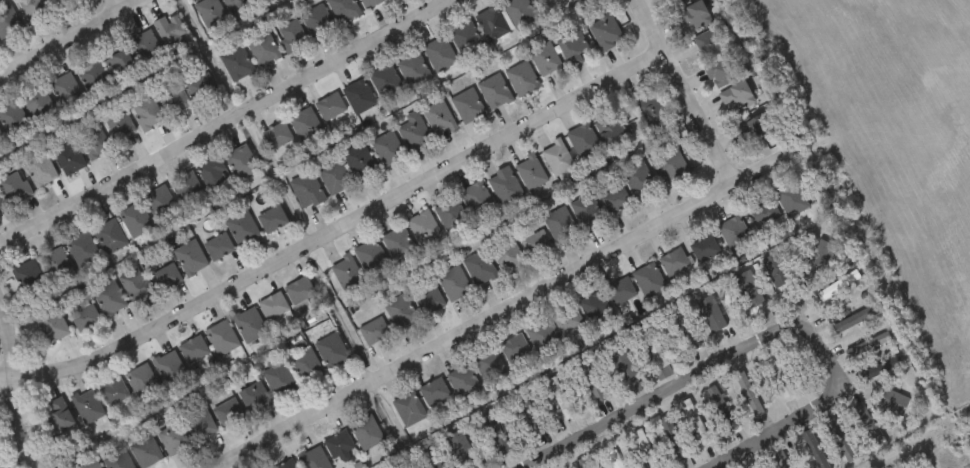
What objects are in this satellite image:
building: (571, 0)
building: (58, 2)
building: (262, 2)
building: (540, 2)
building: (681, 2)
building: (371, 3)
road: (120, 6)
building: (237, 6)
building: (34, 10)
building: (343, 10)
building: (519, 12)
building: (209, 13)
building: (695, 16)
building: (7, 22)
building: (317, 23)
building: (491, 24)
building: (605, 32)
building: (172, 34)
building: (291, 36)
building: (465, 38)
road: (73, 40)
building: (711, 43)
building: (145, 47)
building: (572, 48)
building: (262, 49)
building: (440, 55)
building: (545, 61)
building: (118, 62)
building: (236, 64)
building: (413, 70)
building: (723, 72)
building: (92, 77)
building: (521, 79)
building: (385, 82)
building: (201, 89)
building: (65, 91)
building: (494, 93)
road: (680, 94)
building: (358, 97)
building: (737, 99)
building: (173, 100)
building: (468, 106)
building: (40, 107)
building: (330, 108)
building: (651, 112)
building: (146, 114)
building: (12, 119)
building: (439, 120)
building: (303, 123)
building: (118, 124)
road: (227, 124)
building: (612, 131)
building: (756, 131)
building: (413, 132)
building: (1, 135)
building: (276, 136)
building: (92, 142)
building: (583, 143)
building: (387, 149)
building: (67, 157)
building: (556, 159)
building: (359, 162)
building: (240, 163)
building: (672, 167)
building: (39, 171)
building: (530, 173)
building: (213, 175)
building: (334, 178)
building: (638, 180)
building: (504, 187)
building: (14, 188)
building: (185, 188)
building: (306, 191)
building: (789, 199)
building: (476, 200)
building: (615, 201)
building: (160, 205)
building: (1, 207)
building: (586, 211)
building: (763, 213)
building: (450, 215)
building: (272, 220)
building: (135, 221)
building: (559, 225)
building: (422, 227)
building: (242, 230)
building: (733, 233)
road: (335, 234)
building: (109, 236)
building: (397, 244)
building: (535, 244)
building: (218, 247)
building: (704, 249)
building: (82, 250)
building: (507, 256)
building: (370, 257)
building: (189, 259)
building: (817, 261)
building: (674, 263)
building: (56, 265)
building: (479, 269)
building: (775, 273)
building: (346, 274)
building: (166, 277)
building: (28, 278)
building: (649, 280)
building: (453, 284)
building: (135, 285)
building: (838, 286)
building: (299, 291)
building: (620, 291)
building: (109, 299)
building: (428, 302)
building: (273, 307)
building: (593, 307)
building: (399, 312)
road: (508, 312)
building: (84, 318)
building: (855, 320)
building: (567, 321)
building: (249, 325)
building: (52, 326)
building: (728, 328)
building: (373, 332)
building: (686, 334)
building: (541, 337)
building: (221, 338)
road: (753, 343)
building: (867, 346)
building: (513, 349)
building: (193, 350)
building: (332, 352)
building: (656, 358)
building: (487, 365)
building: (622, 365)
building: (890, 366)
building: (306, 367)
building: (168, 368)
building: (870, 374)
building: (779, 377)
building: (279, 381)
building: (141, 382)
building: (462, 382)
road: (12, 390)
building: (113, 393)
building: (433, 393)
building: (559, 398)
building: (254, 399)
building: (893, 403)
building: (87, 407)
building: (720, 409)
building: (408, 410)
building: (227, 413)
building: (529, 415)
building: (59, 417)
building: (695, 422)
building: (199, 424)
building: (869, 427)
building: (366, 434)
building: (497, 438)
building: (172, 439)
building: (839, 441)
building: (339, 446)
building: (645, 449)
building: (814, 450)
building: (145, 452)
building: (462, 452)
building: (313, 459)
building: (779, 459)
building: (116, 460)
building: (613, 460)
building: (0, 464)
building: (580, 464)
building: (286, 465)
building: (90, 467)

